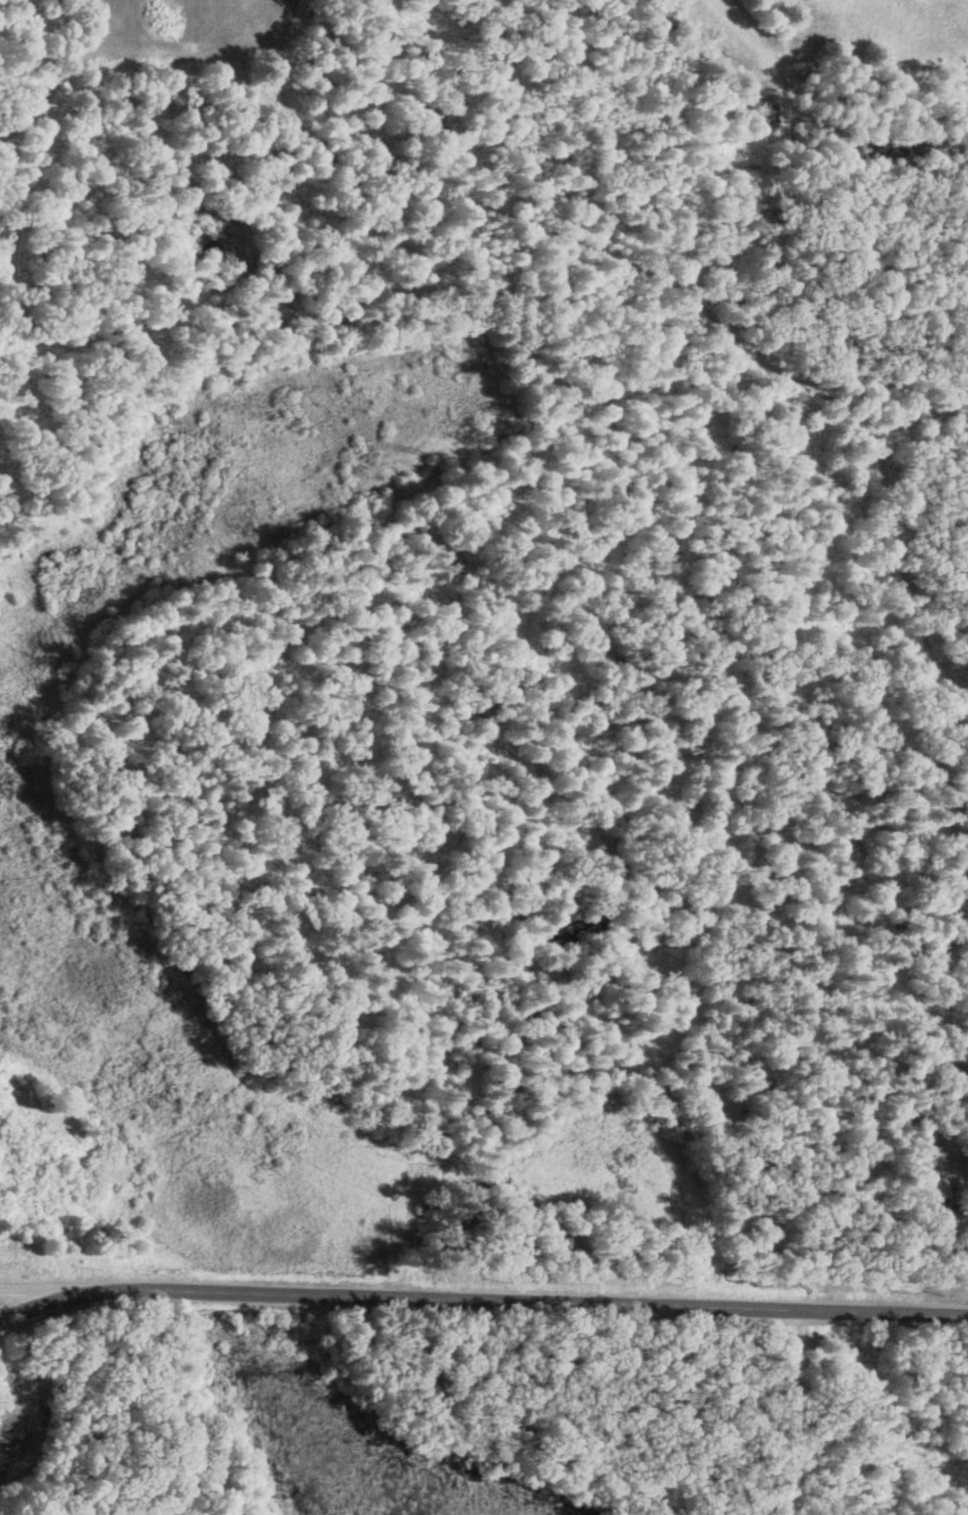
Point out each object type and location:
building: (932, 1171)
road: (44, 1289)
road: (481, 1298)

